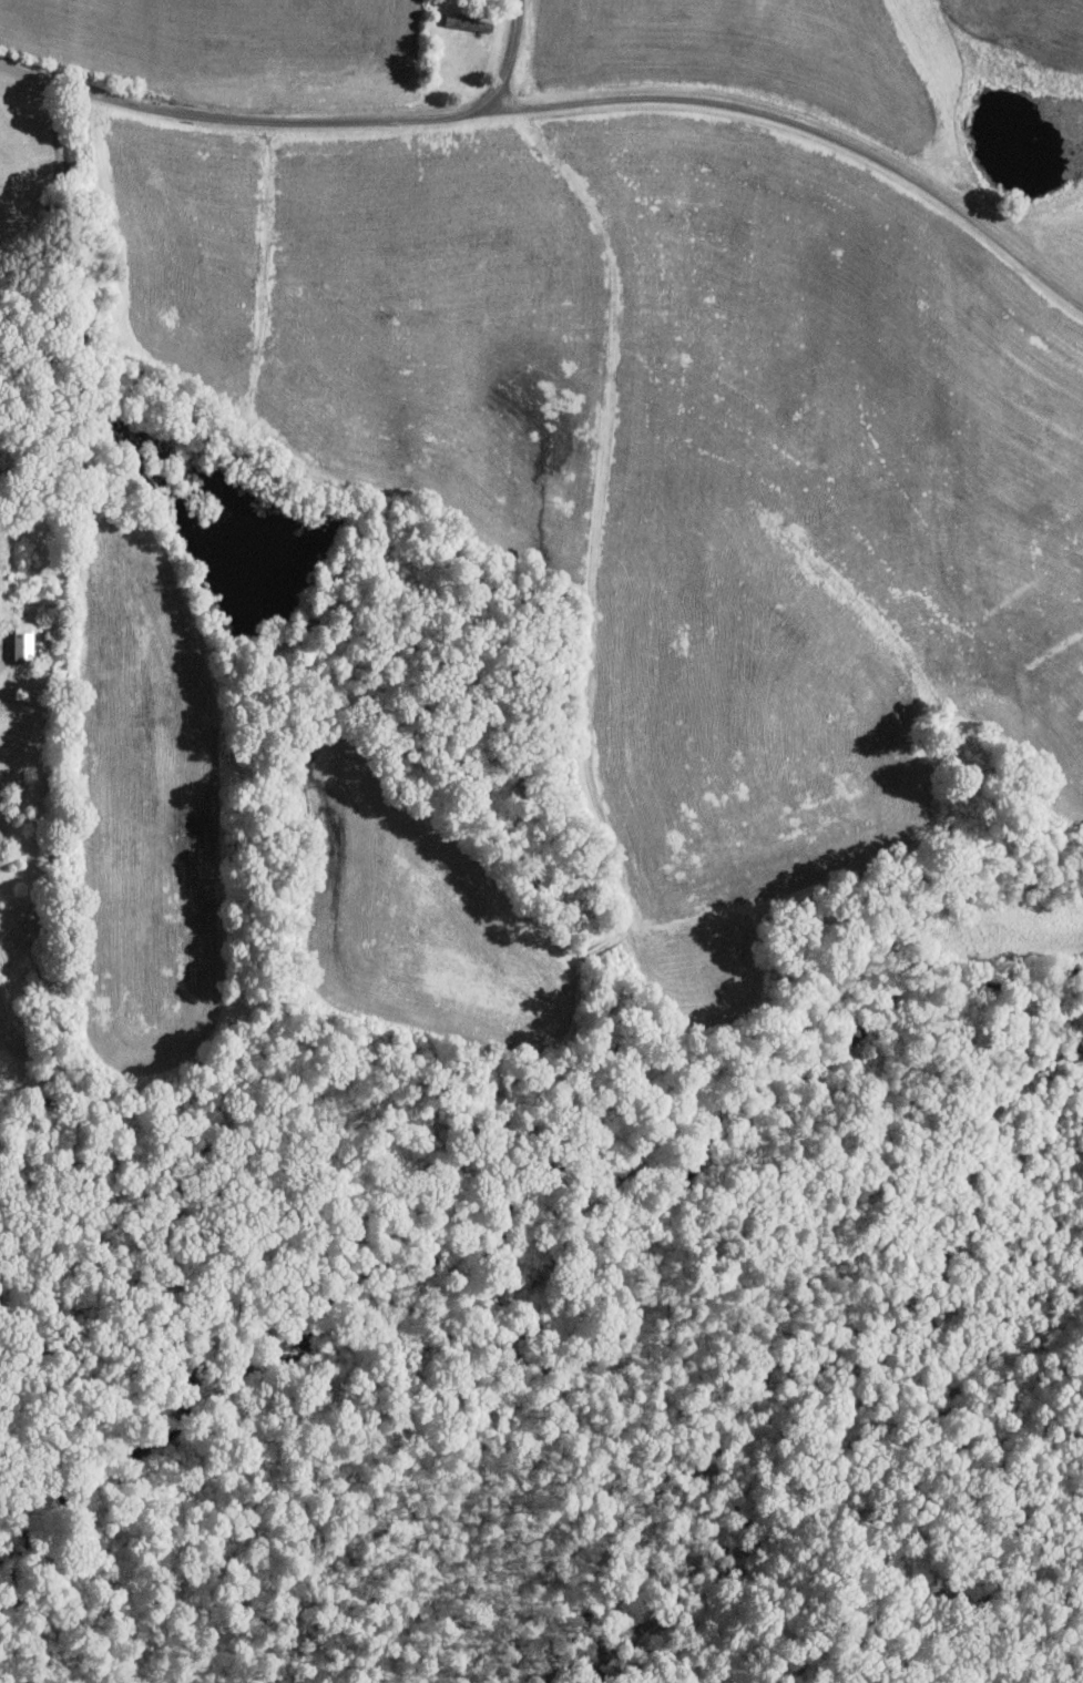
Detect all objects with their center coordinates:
road: (513, 58)
road: (568, 105)
road: (130, 232)
building: (24, 640)

